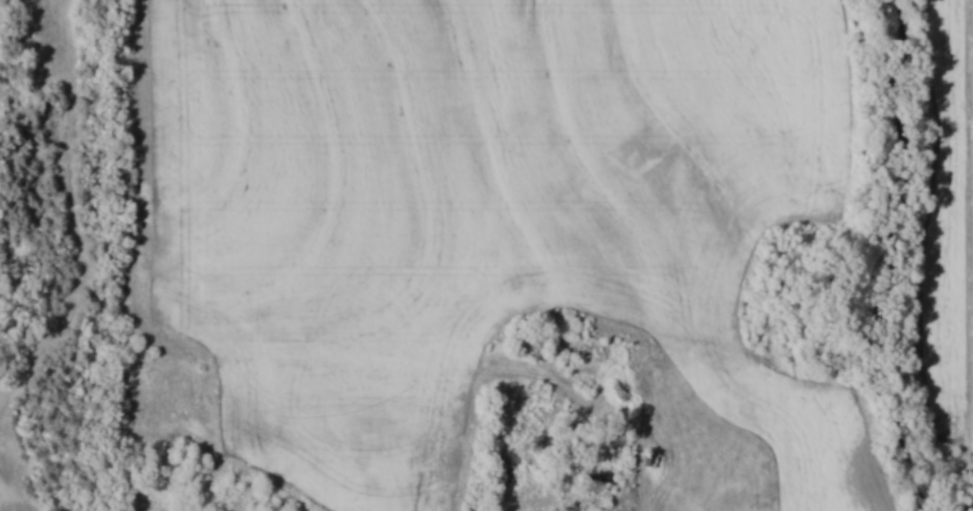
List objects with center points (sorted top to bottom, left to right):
building: (533, 342)

